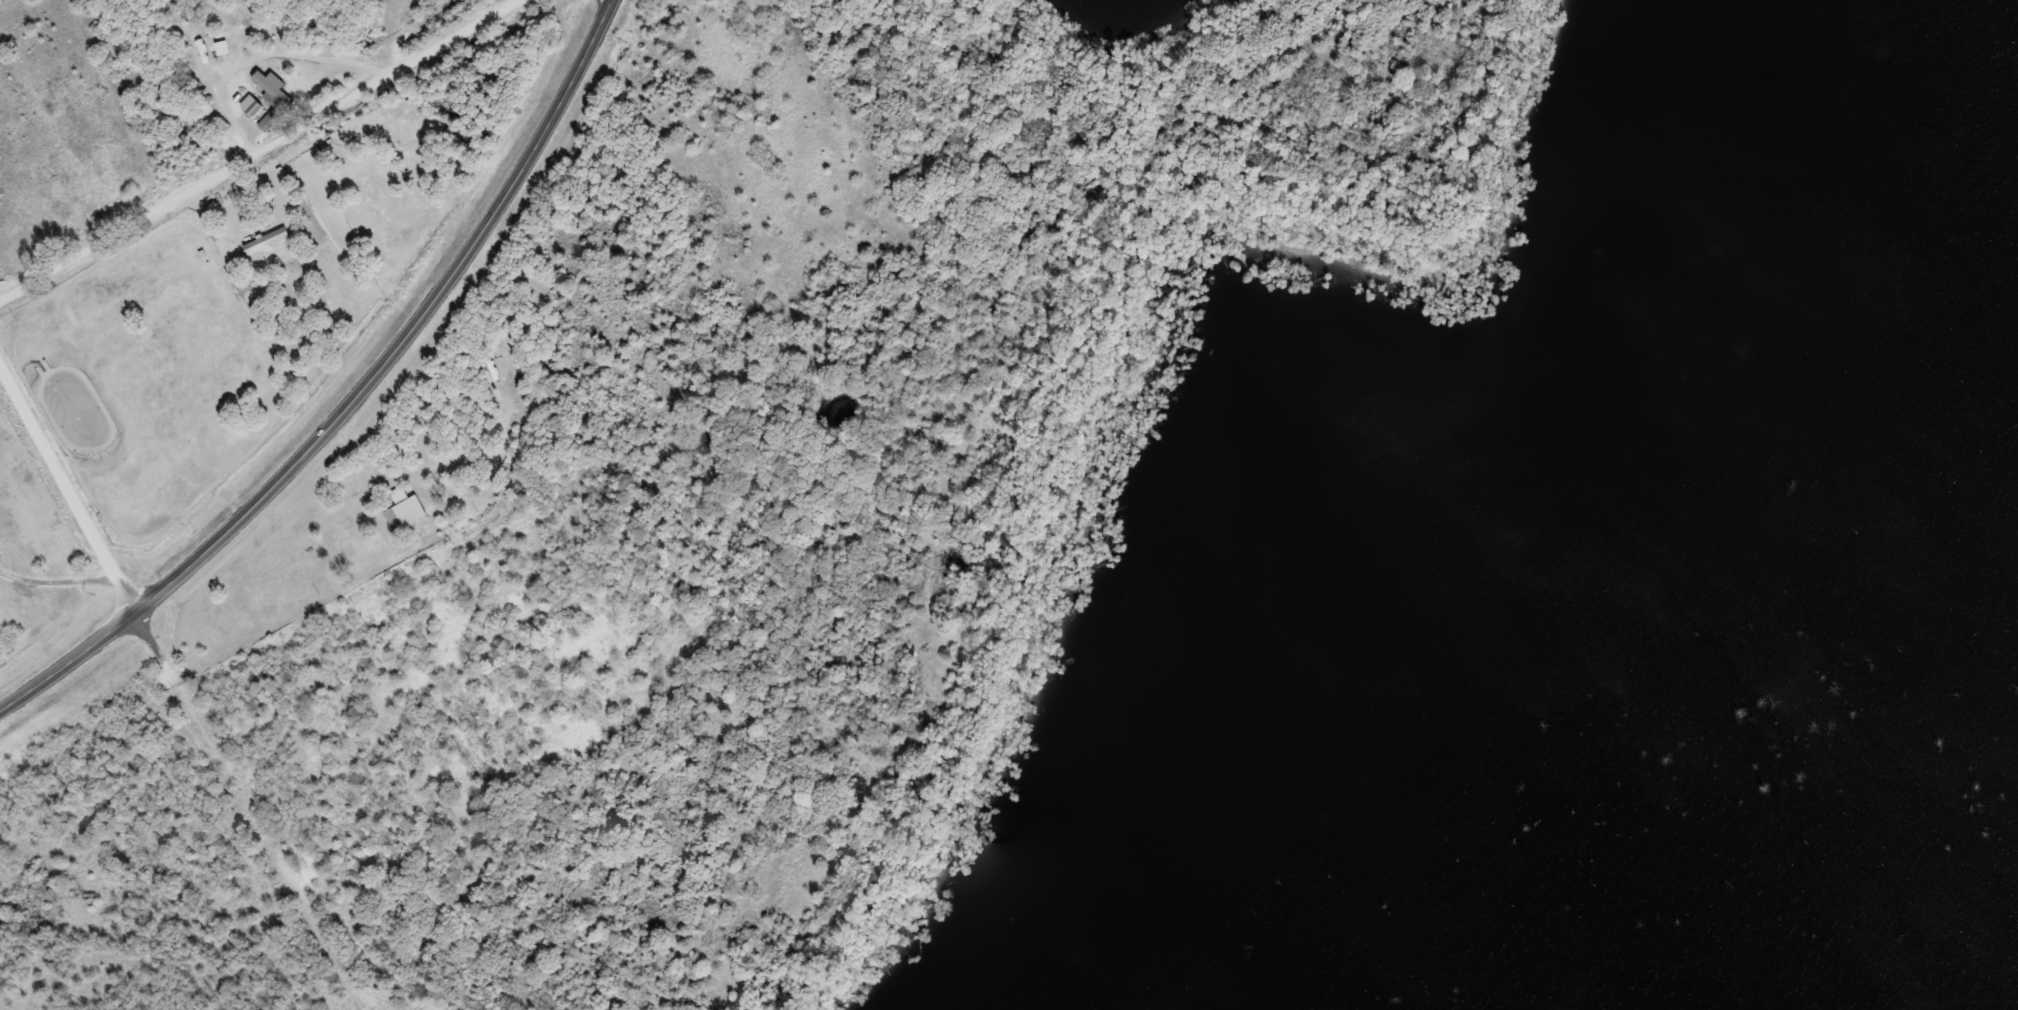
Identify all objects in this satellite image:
building: (218, 39)
building: (274, 119)
road: (264, 154)
building: (258, 209)
building: (273, 240)
road: (359, 396)
road: (71, 482)
building: (408, 509)
building: (1220, 614)
building: (1063, 991)
building: (1273, 997)

